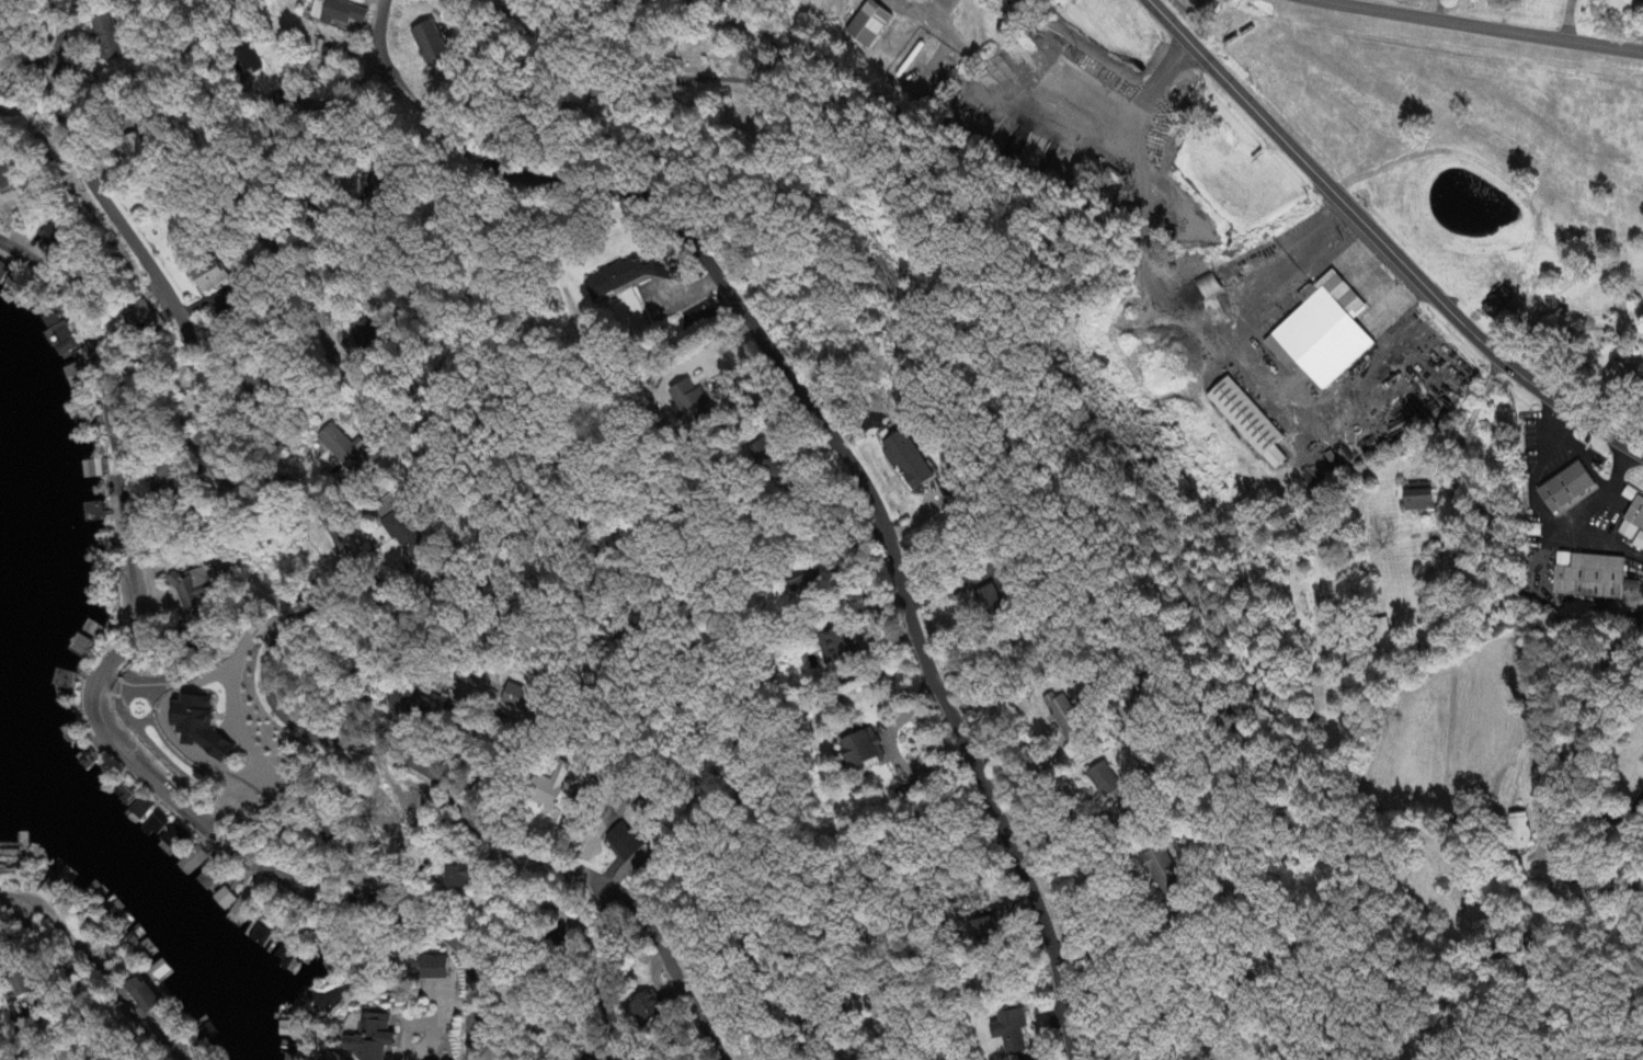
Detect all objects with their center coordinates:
building: (1642, 0)
road: (922, 4)
building: (333, 13)
road: (1567, 20)
building: (870, 24)
road: (1480, 26)
building: (111, 38)
building: (427, 44)
road: (775, 49)
building: (243, 59)
road: (32, 65)
road: (1131, 129)
building: (134, 152)
road: (311, 190)
road: (798, 220)
building: (50, 238)
road: (1383, 241)
road: (1364, 248)
road: (1354, 265)
building: (214, 277)
building: (611, 280)
building: (1203, 287)
building: (1498, 301)
road: (1174, 306)
building: (142, 316)
building: (45, 321)
building: (1324, 332)
building: (365, 334)
building: (1621, 375)
building: (688, 402)
building: (1247, 421)
road: (830, 433)
road: (1563, 435)
road: (1457, 448)
building: (346, 449)
road: (472, 449)
building: (766, 460)
building: (904, 461)
building: (1568, 489)
building: (1631, 493)
building: (1420, 498)
road: (1578, 514)
building: (1638, 514)
building: (1630, 531)
building: (409, 538)
building: (1640, 543)
building: (1462, 560)
building: (1594, 577)
building: (802, 581)
building: (989, 602)
road: (326, 605)
road: (1563, 620)
building: (1382, 643)
building: (835, 647)
building: (522, 700)
building: (422, 706)
building: (1063, 716)
building: (205, 728)
road: (96, 730)
road: (1584, 734)
building: (859, 750)
road: (255, 778)
building: (1102, 780)
building: (559, 786)
road: (1632, 812)
road: (1064, 832)
building: (1520, 832)
building: (628, 844)
building: (1160, 871)
building: (457, 878)
building: (52, 893)
building: (223, 900)
building: (983, 928)
road: (1110, 946)
building: (432, 969)
road: (611, 973)
building: (38, 988)
road: (52, 991)
building: (139, 996)
building: (658, 1008)
building: (288, 1030)
building: (1007, 1031)
building: (376, 1039)

